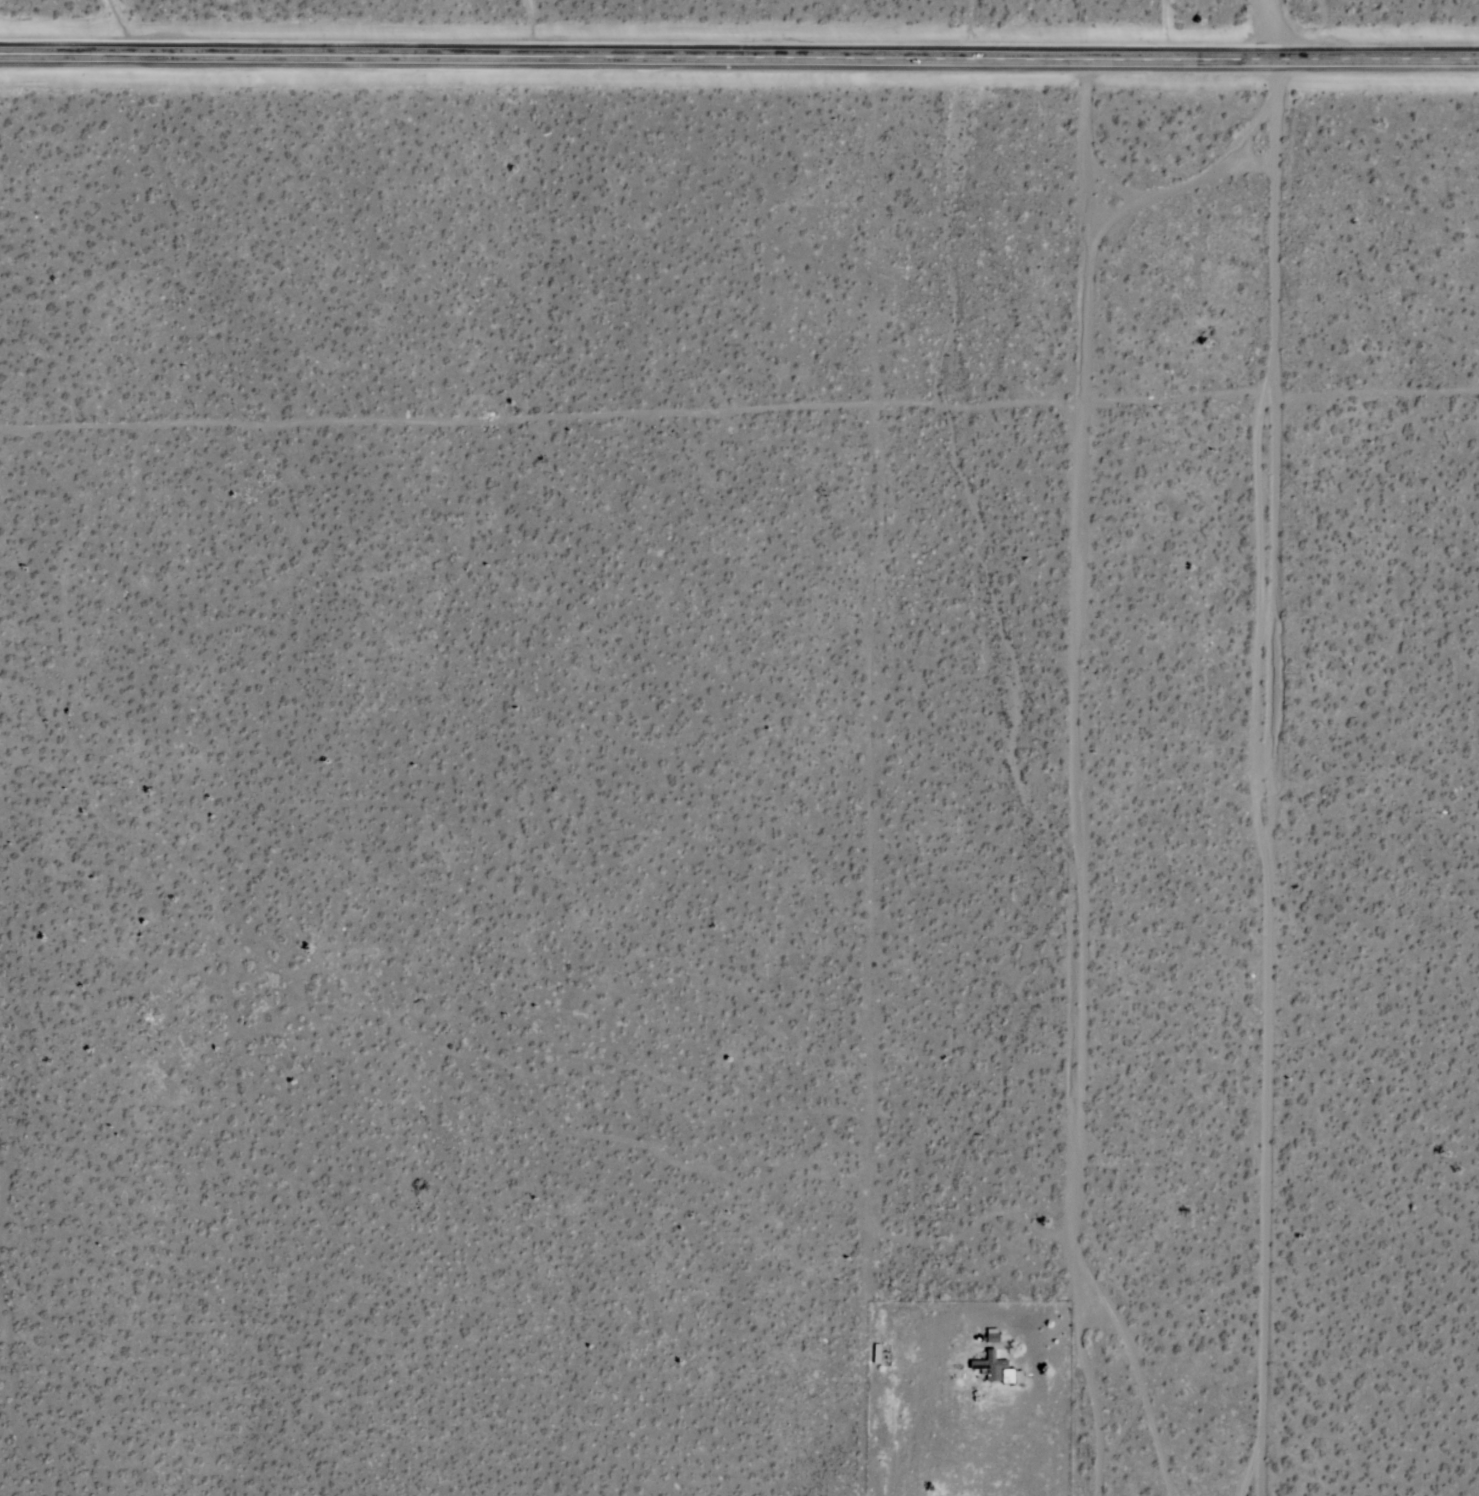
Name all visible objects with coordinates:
road: (1273, 28)
road: (739, 55)
road: (1271, 776)
road: (1047, 1324)
road: (1096, 1409)

